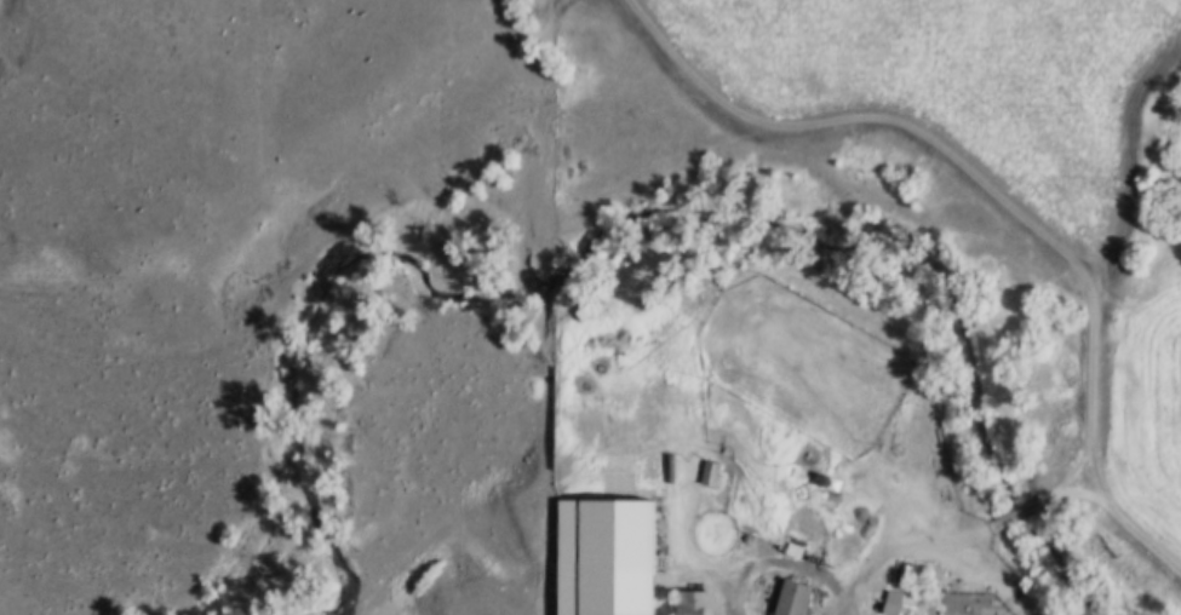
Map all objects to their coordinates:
road: (1004, 194)
road: (933, 545)
building: (606, 557)
building: (789, 599)
building: (890, 604)

